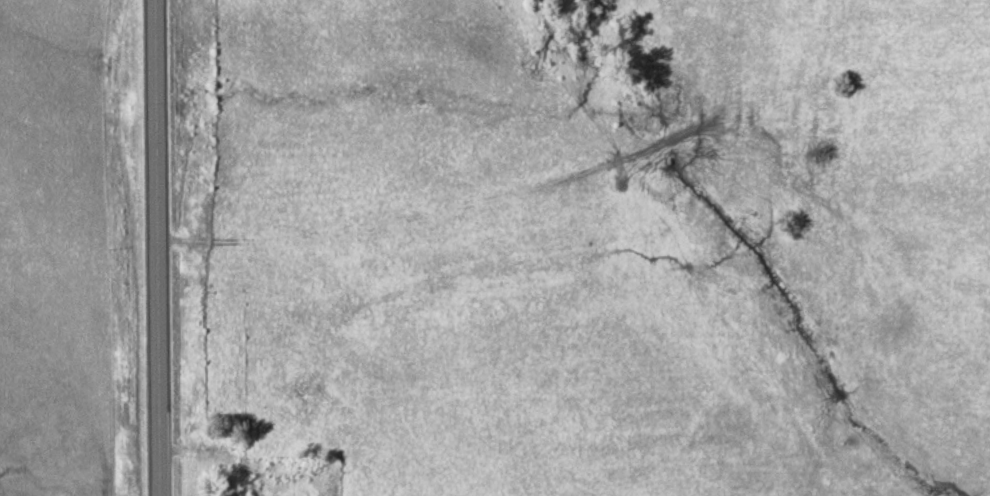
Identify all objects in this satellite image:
road: (157, 248)

